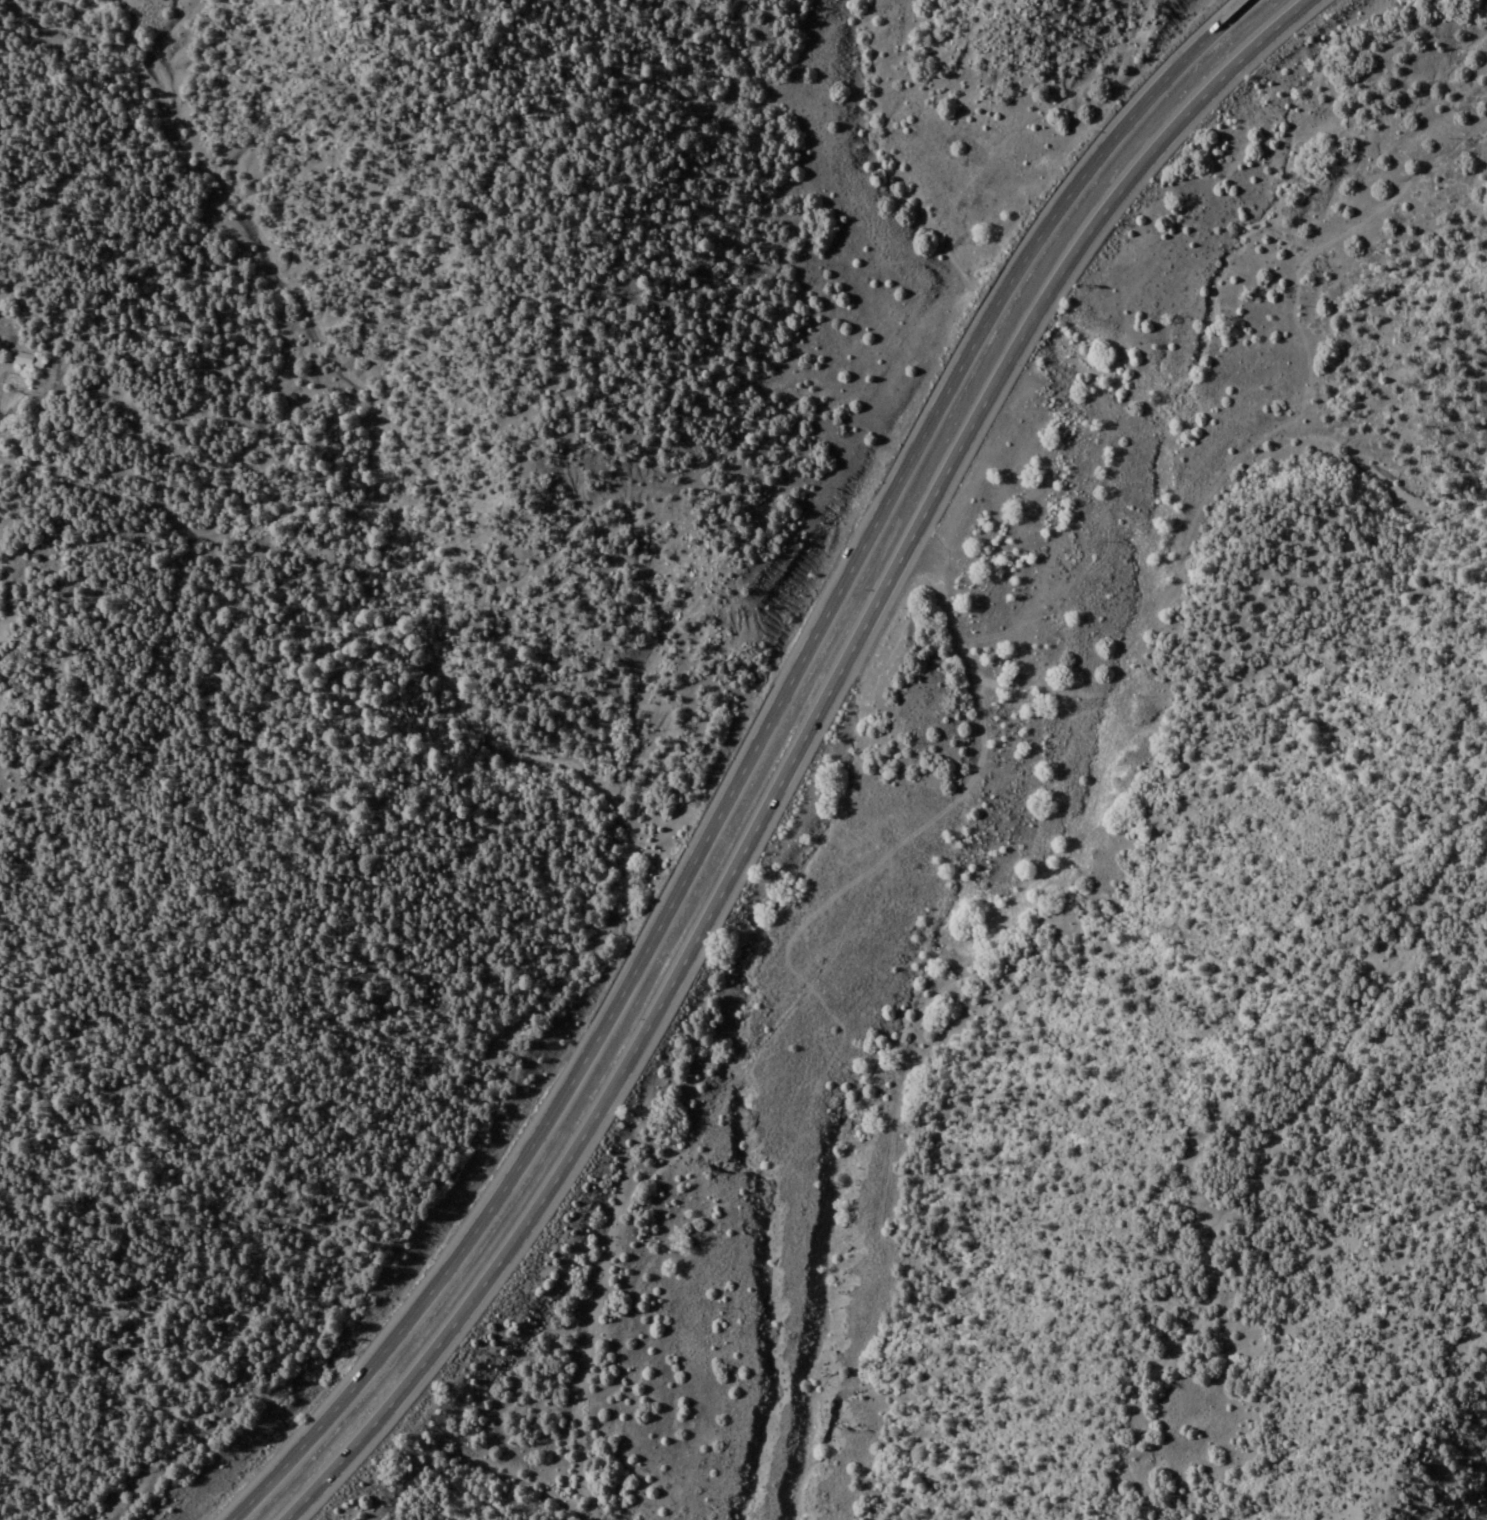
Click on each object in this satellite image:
road: (1139, 165)
building: (27, 359)
road: (756, 763)
road: (686, 967)
road: (573, 1358)

